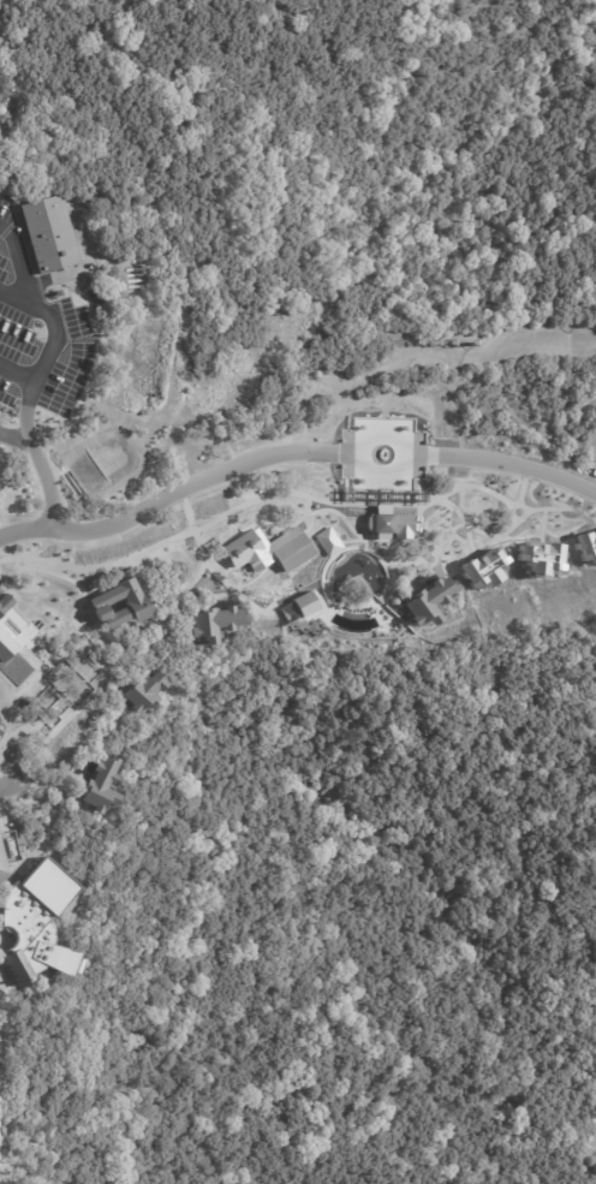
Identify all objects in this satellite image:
building: (52, 237)
road: (65, 317)
road: (20, 371)
building: (144, 413)
road: (34, 433)
road: (18, 436)
road: (291, 448)
road: (124, 528)
building: (327, 541)
building: (285, 553)
building: (431, 602)
building: (105, 603)
building: (219, 625)
building: (144, 694)
building: (6, 780)
building: (103, 786)
building: (1, 869)
building: (41, 923)

